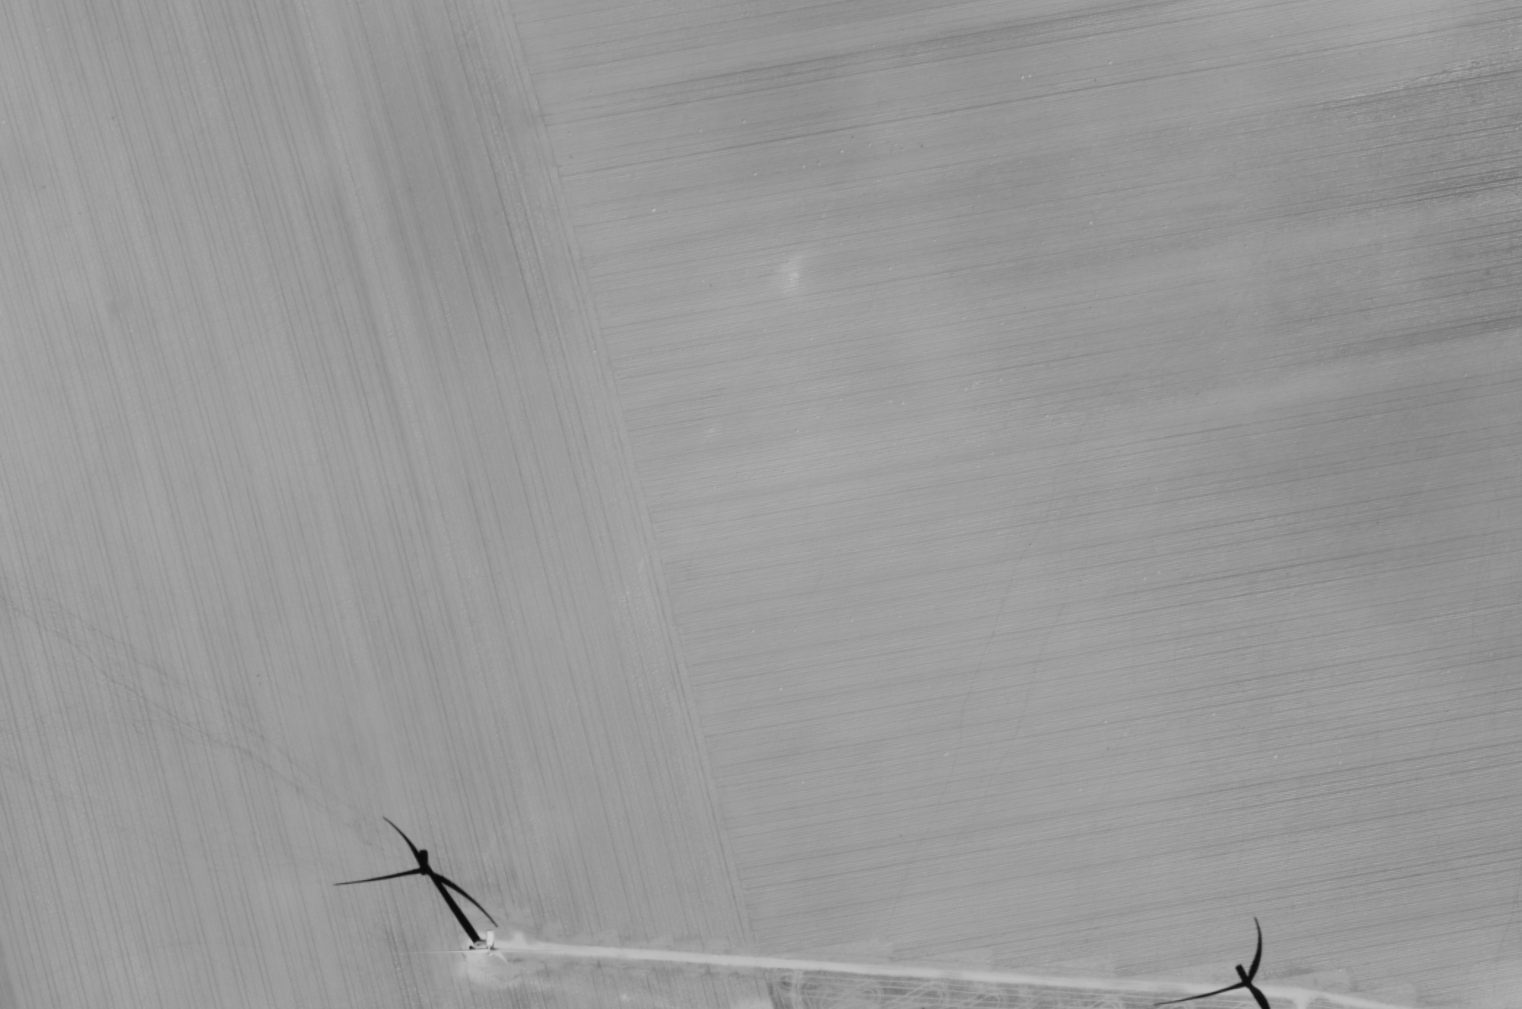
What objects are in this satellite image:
wind turbine: (478, 947)

